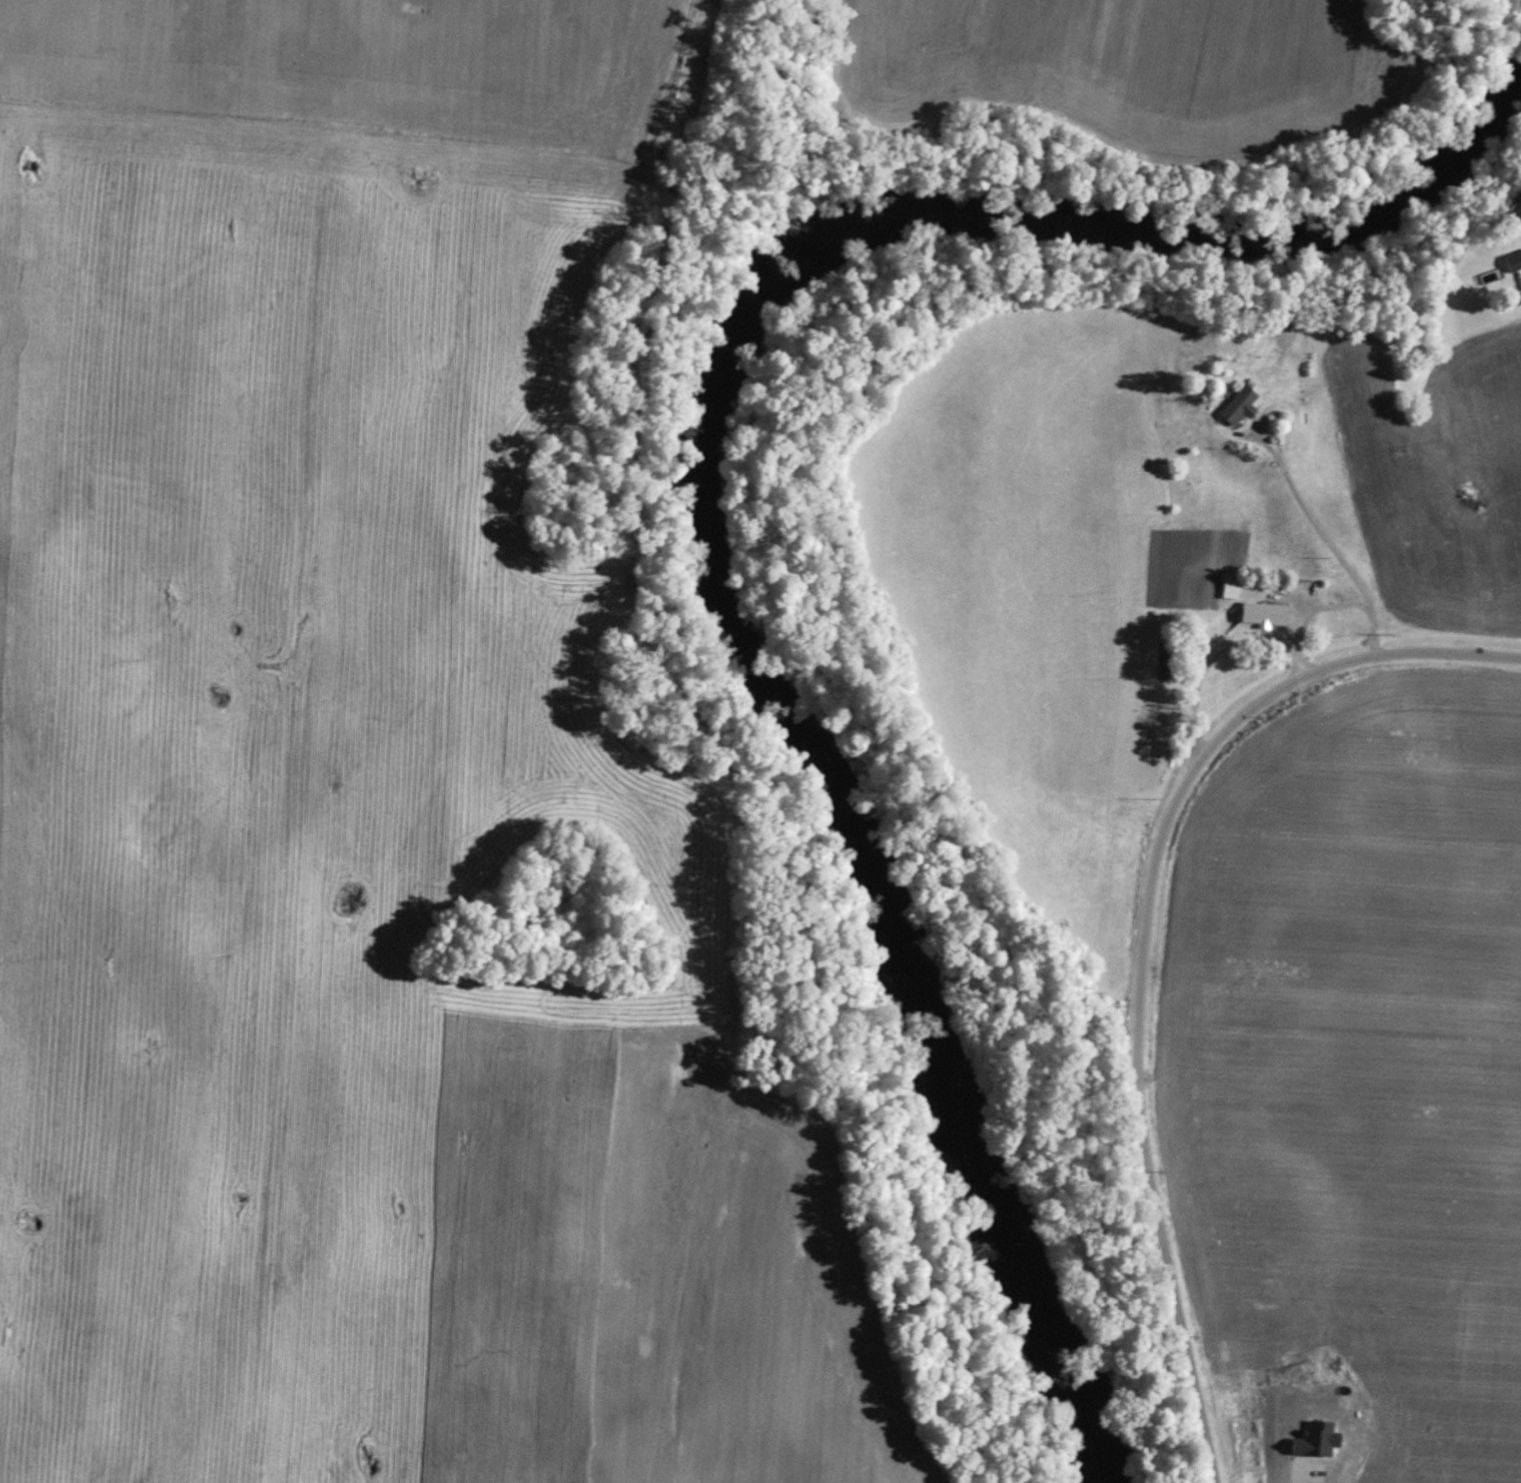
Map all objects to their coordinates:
building: (1513, 262)
building: (1239, 406)
river: (721, 486)
road: (1314, 525)
building: (1231, 588)
road: (1327, 609)
building: (1264, 614)
road: (1145, 944)

